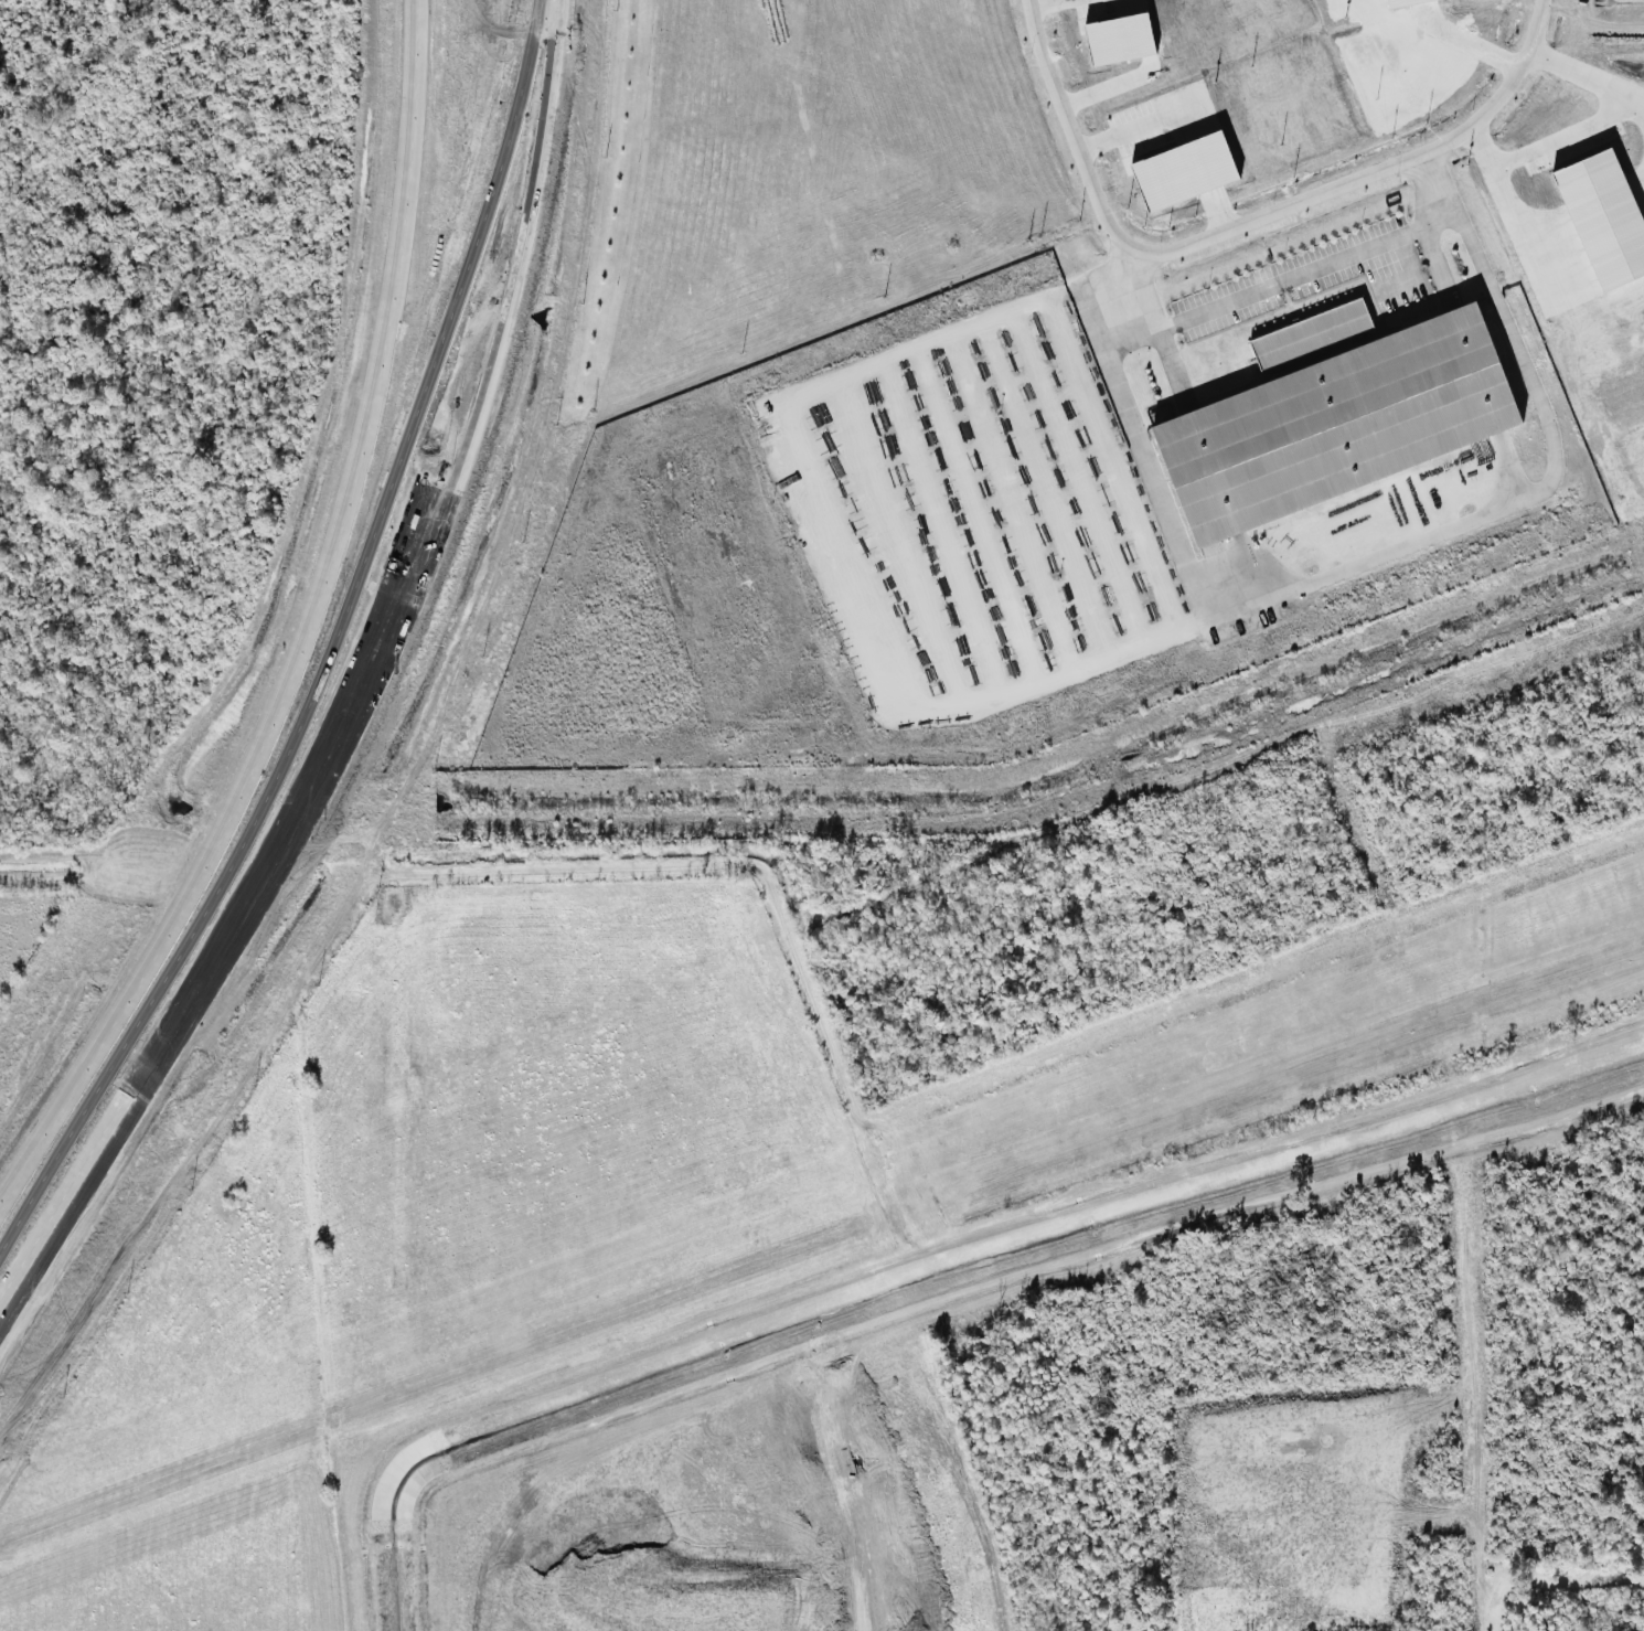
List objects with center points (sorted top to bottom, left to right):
road: (1488, 36)
road: (1591, 118)
road: (1076, 129)
road: (1379, 170)
road: (1431, 186)
road: (1258, 290)
building: (1309, 332)
building: (1336, 424)
road: (360, 448)
road: (431, 449)
road: (396, 454)
road: (463, 455)
building: (1211, 574)
road: (1051, 681)
road: (100, 1037)
road: (131, 1089)

